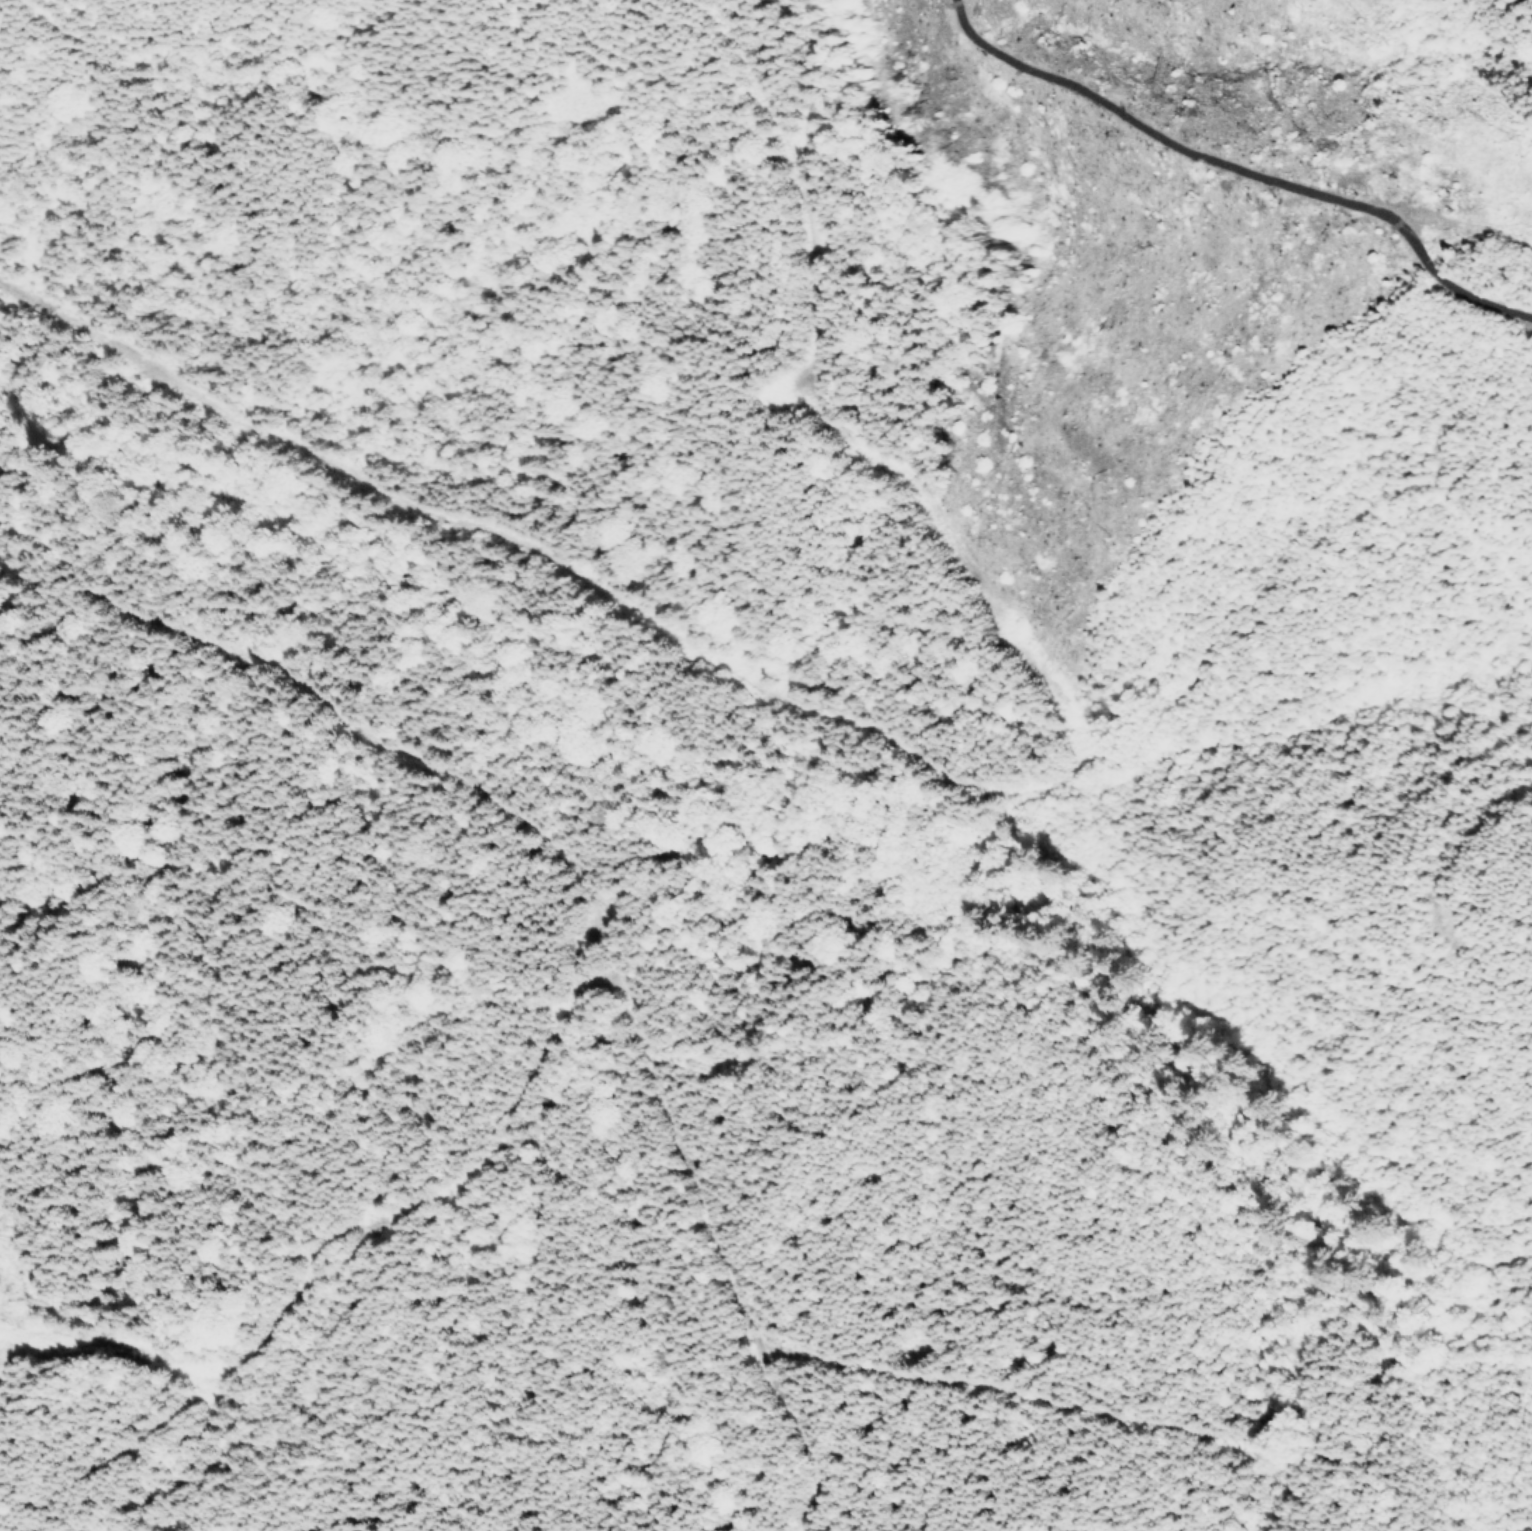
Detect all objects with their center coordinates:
road: (900, 405)

